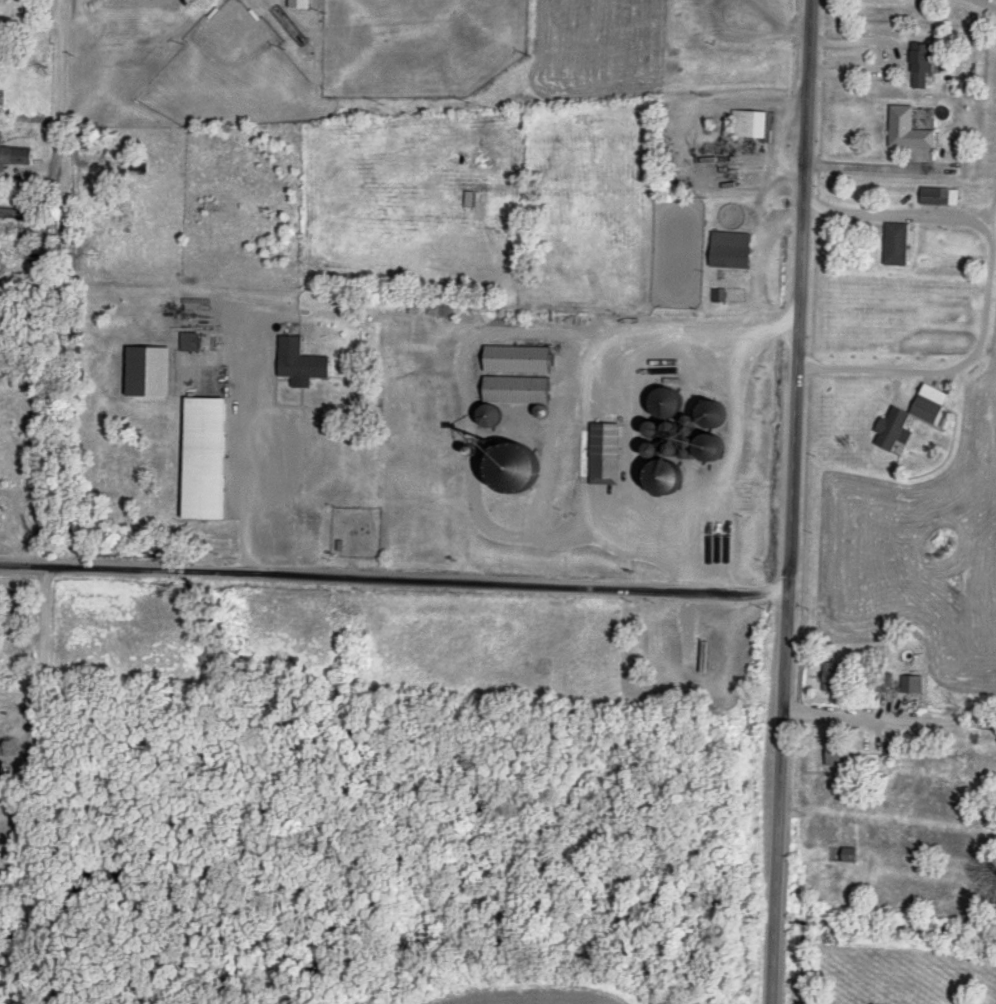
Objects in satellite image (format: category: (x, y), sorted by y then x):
road: (993, 1)
park: (417, 46)
building: (923, 66)
park: (228, 77)
road: (64, 85)
building: (749, 124)
building: (908, 130)
building: (14, 155)
road: (872, 166)
building: (941, 197)
building: (470, 199)
road: (761, 204)
building: (16, 214)
road: (906, 216)
building: (897, 245)
building: (732, 250)
road: (241, 315)
road: (589, 324)
building: (190, 342)
road: (800, 346)
building: (300, 360)
building: (519, 360)
building: (151, 372)
building: (520, 391)
building: (906, 422)
building: (208, 458)
road: (721, 468)
building: (675, 531)
road: (20, 565)
road: (414, 579)
building: (837, 676)
road: (37, 680)
building: (913, 684)
road: (884, 692)
road: (888, 719)
building: (838, 758)
building: (2, 772)
road: (13, 805)
road: (780, 848)

